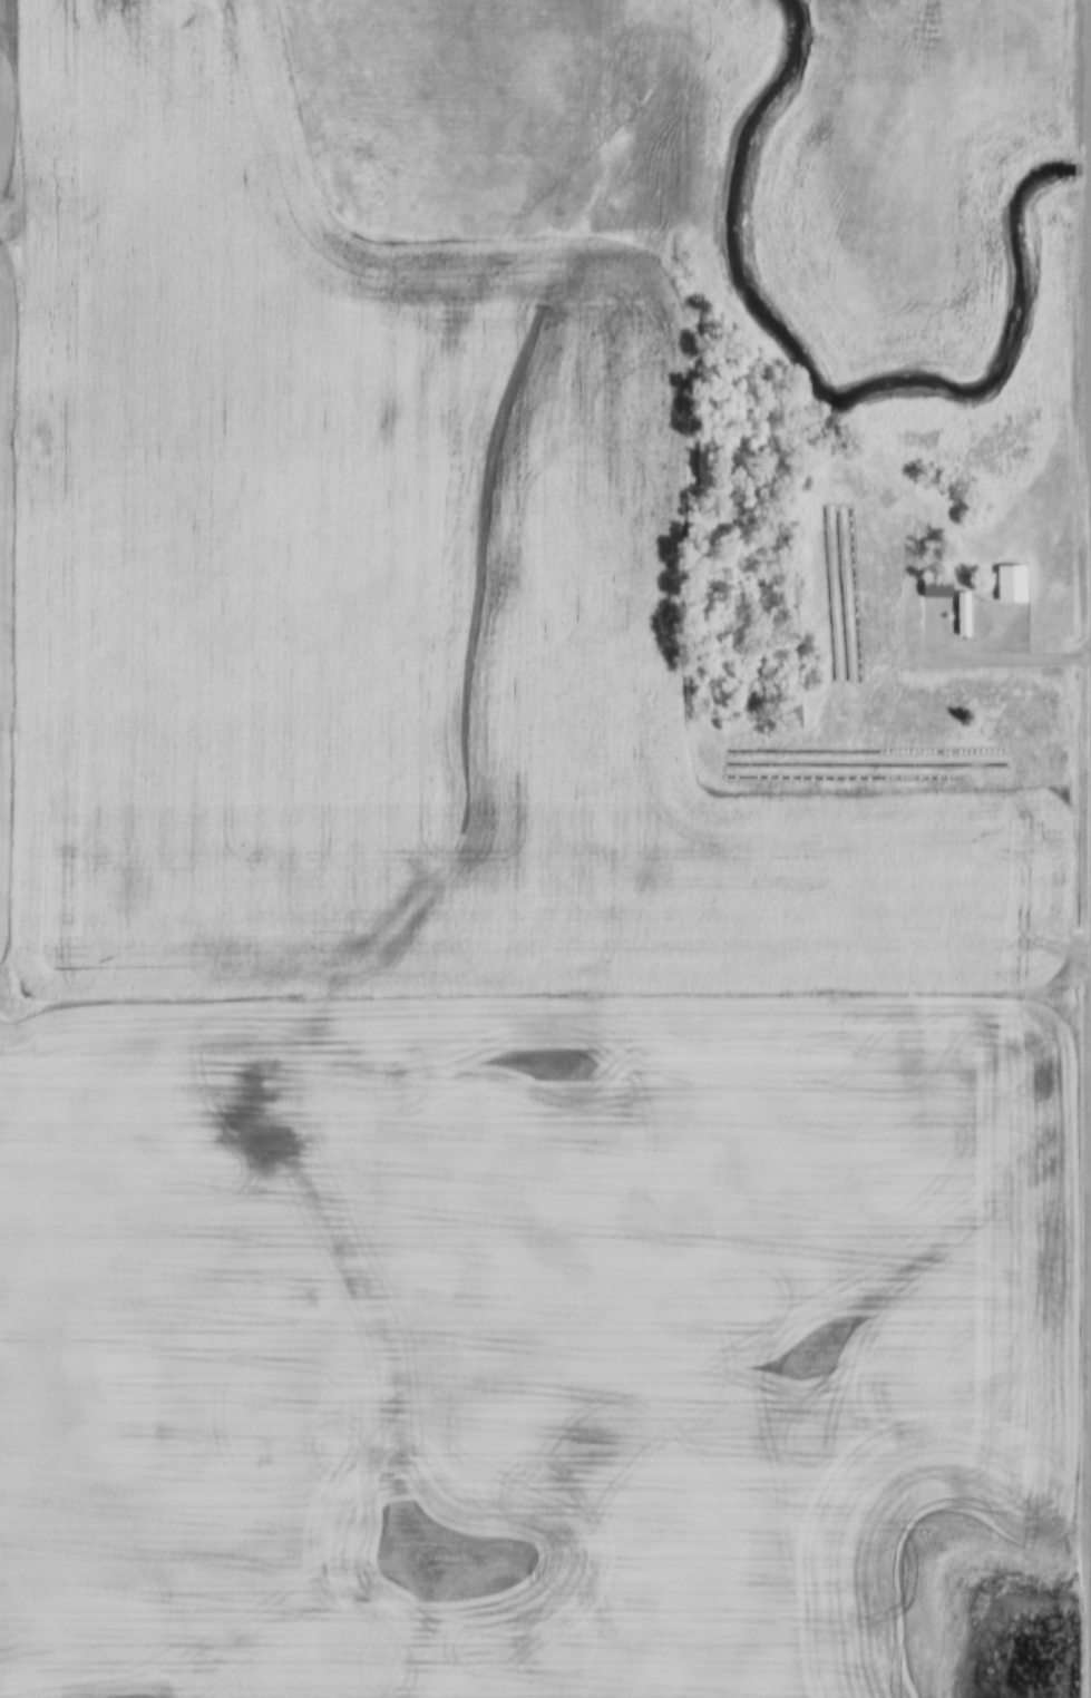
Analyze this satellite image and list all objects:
building: (837, 546)
building: (1013, 585)
building: (935, 588)
building: (963, 615)
road: (991, 660)
building: (795, 715)

